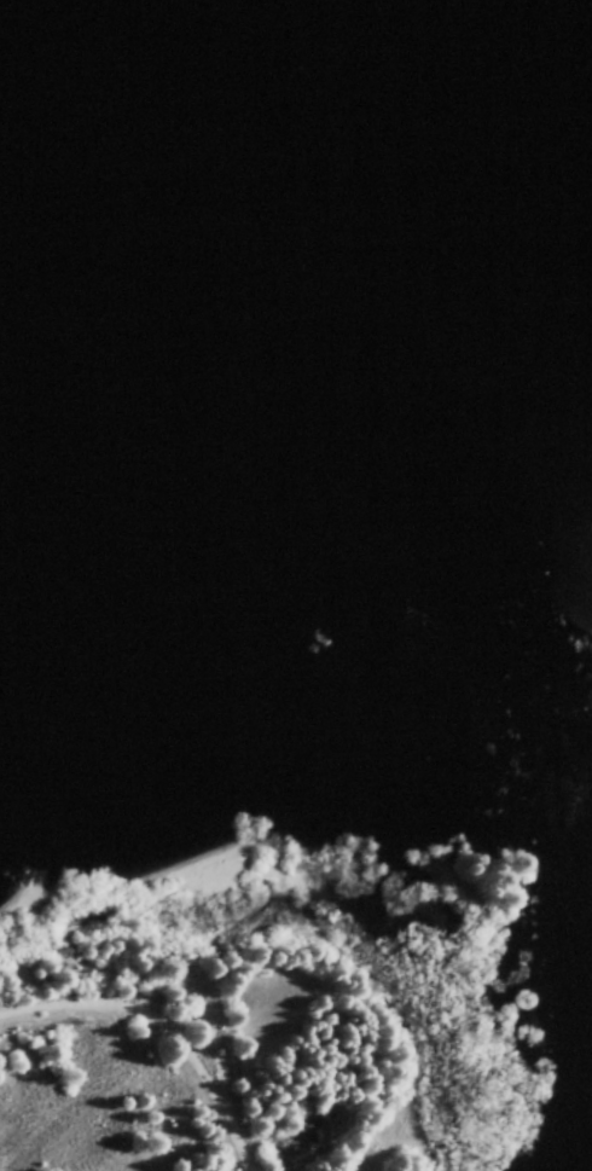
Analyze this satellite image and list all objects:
road: (162, 1030)

